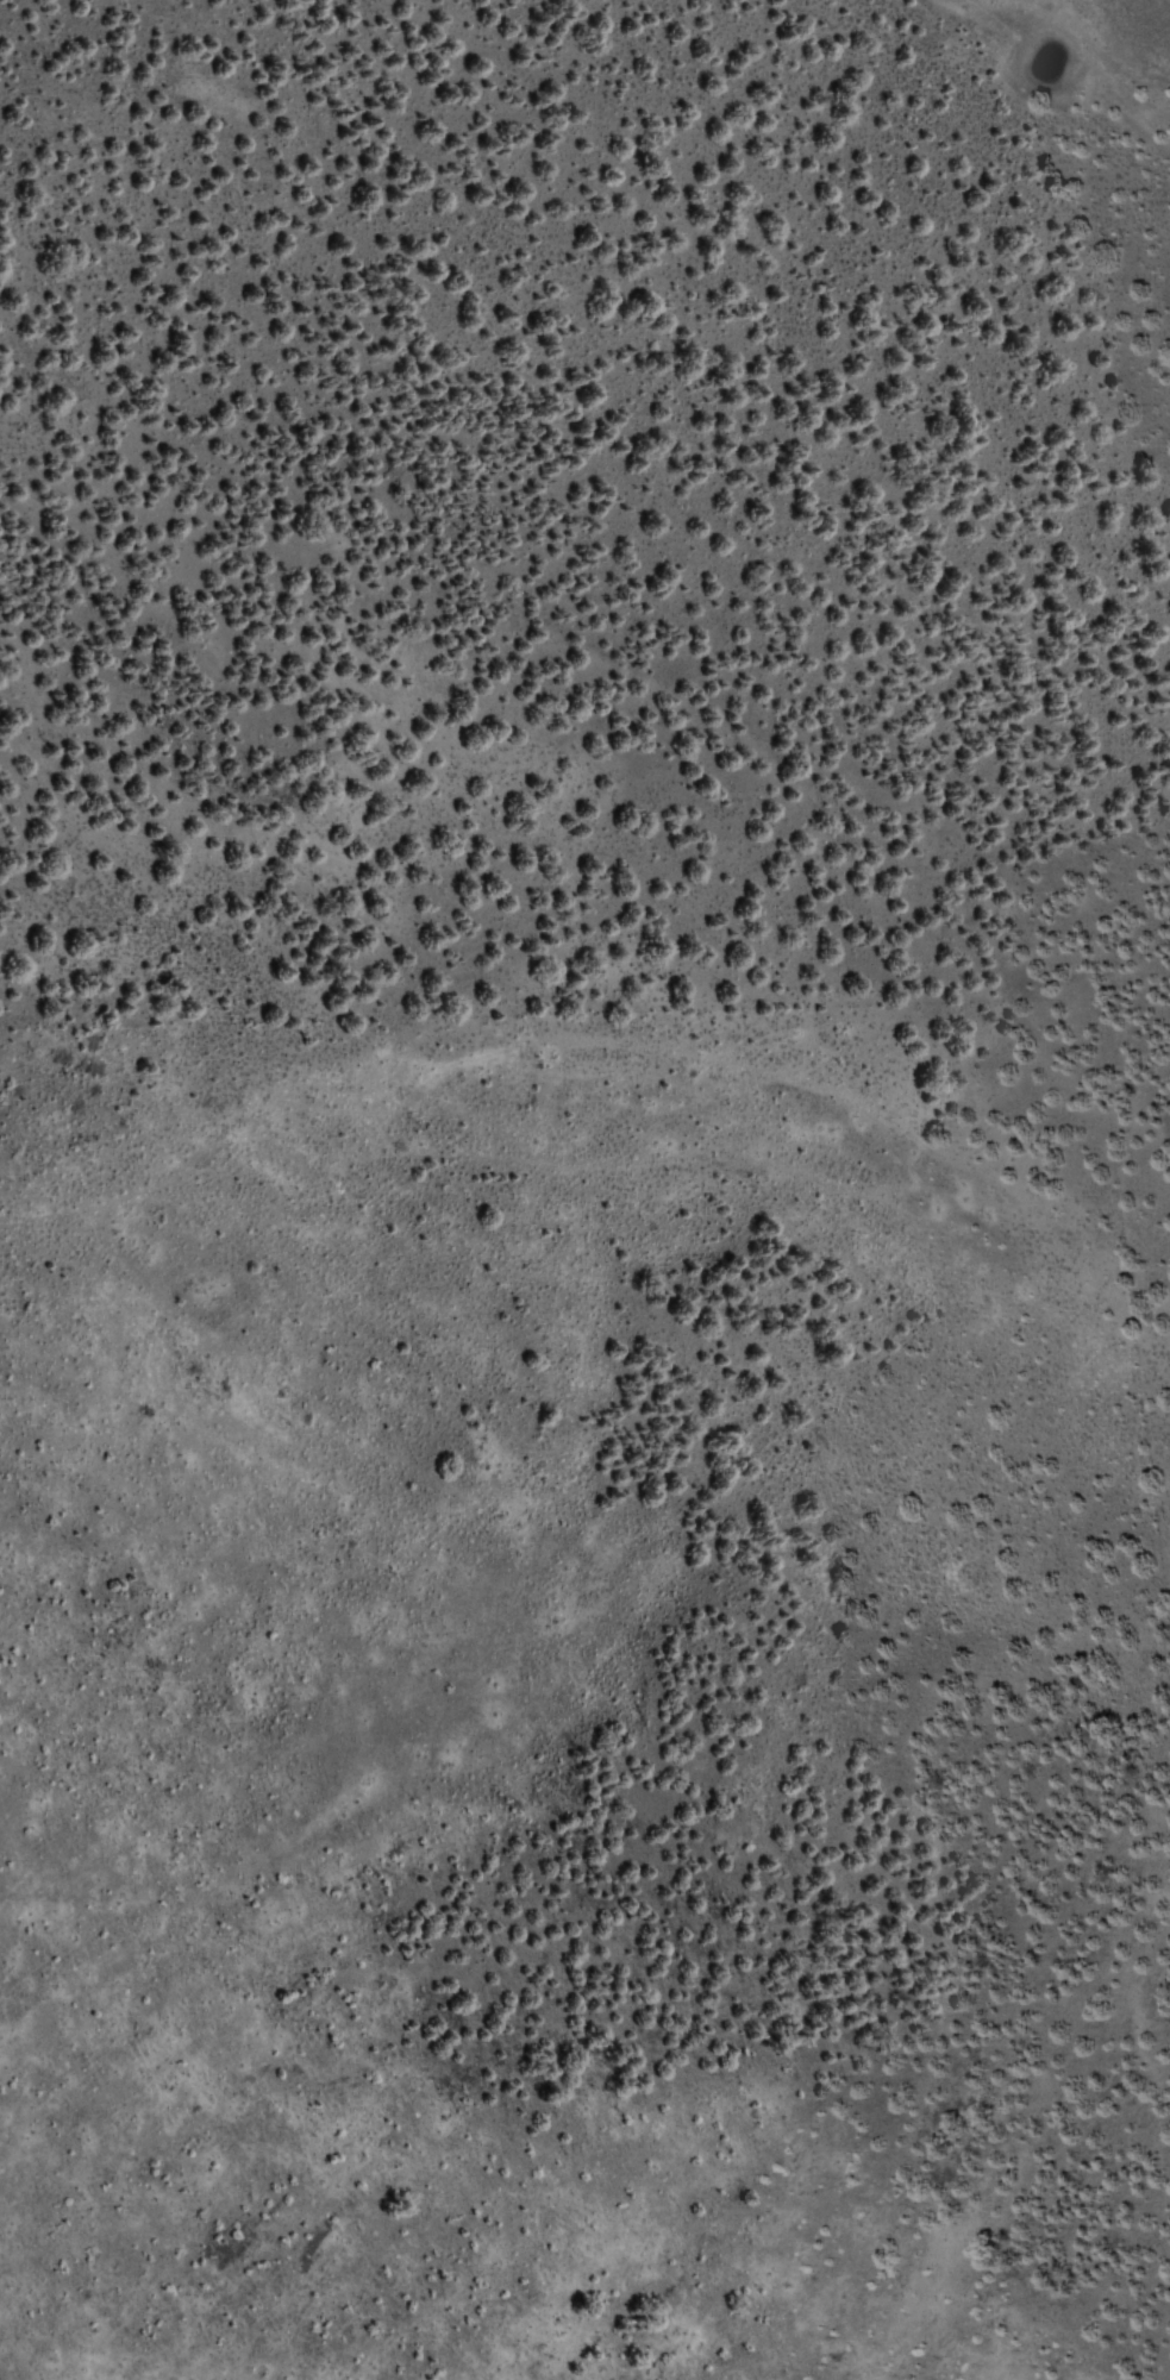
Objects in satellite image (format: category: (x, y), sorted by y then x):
road: (1138, 36)

